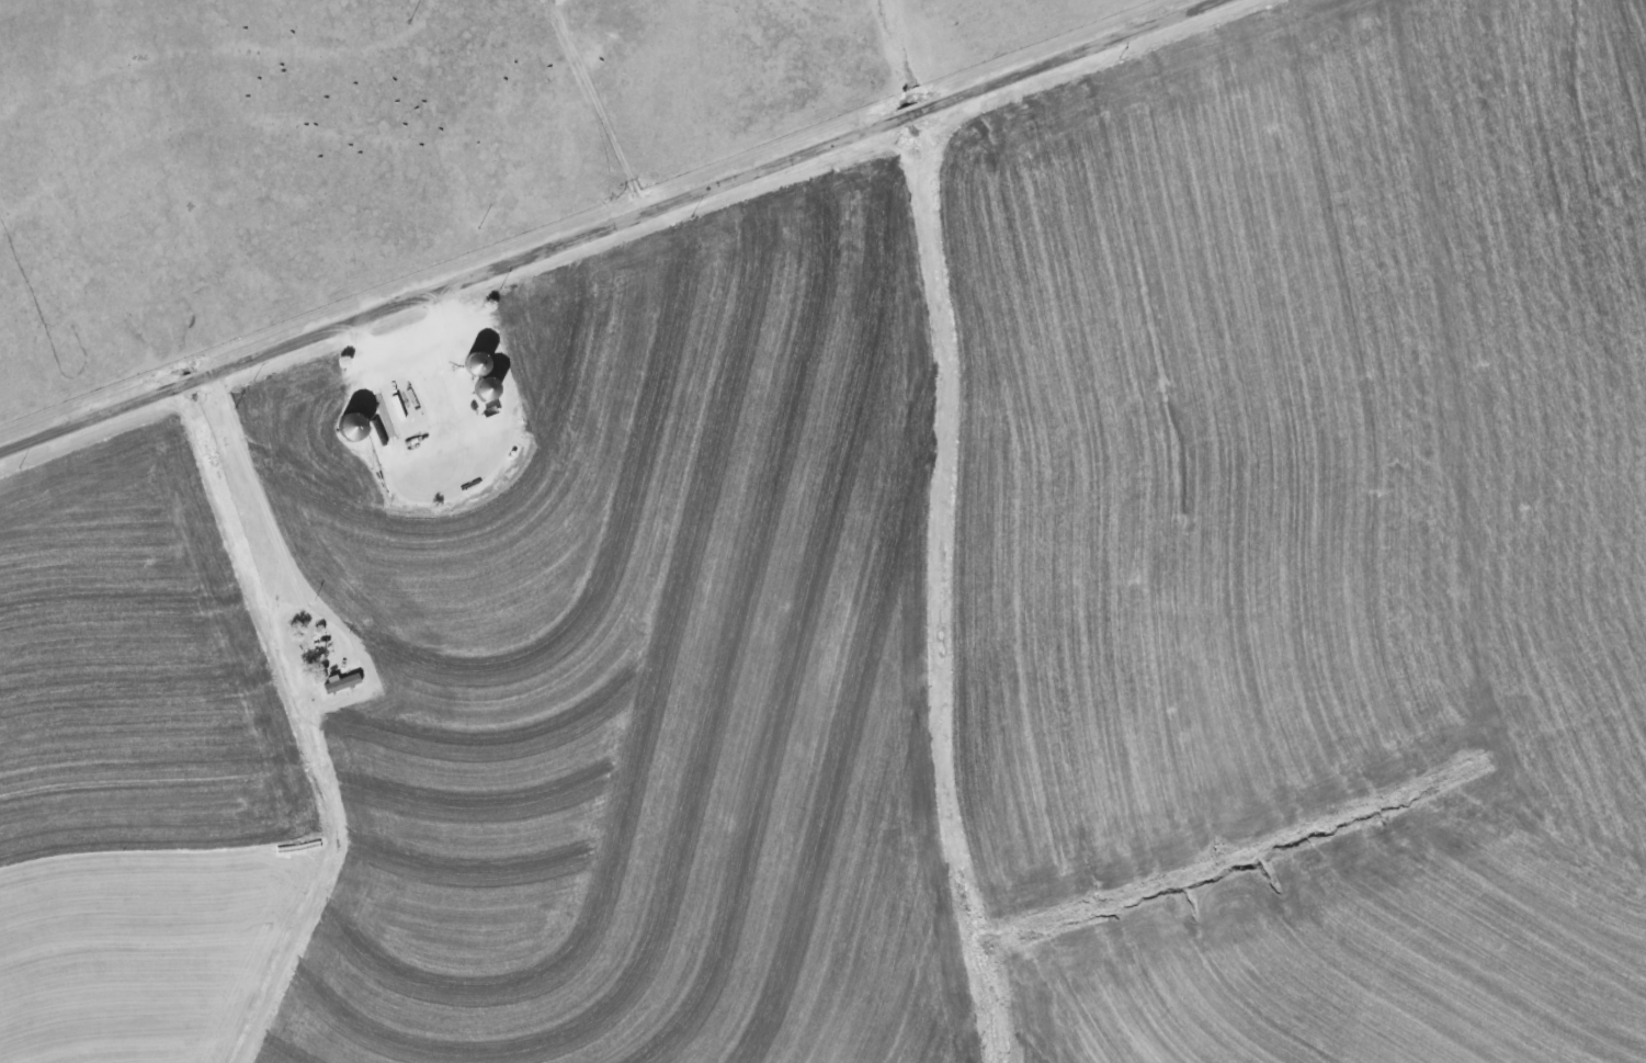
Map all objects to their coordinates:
road: (645, 98)
road: (612, 227)
road: (265, 514)

